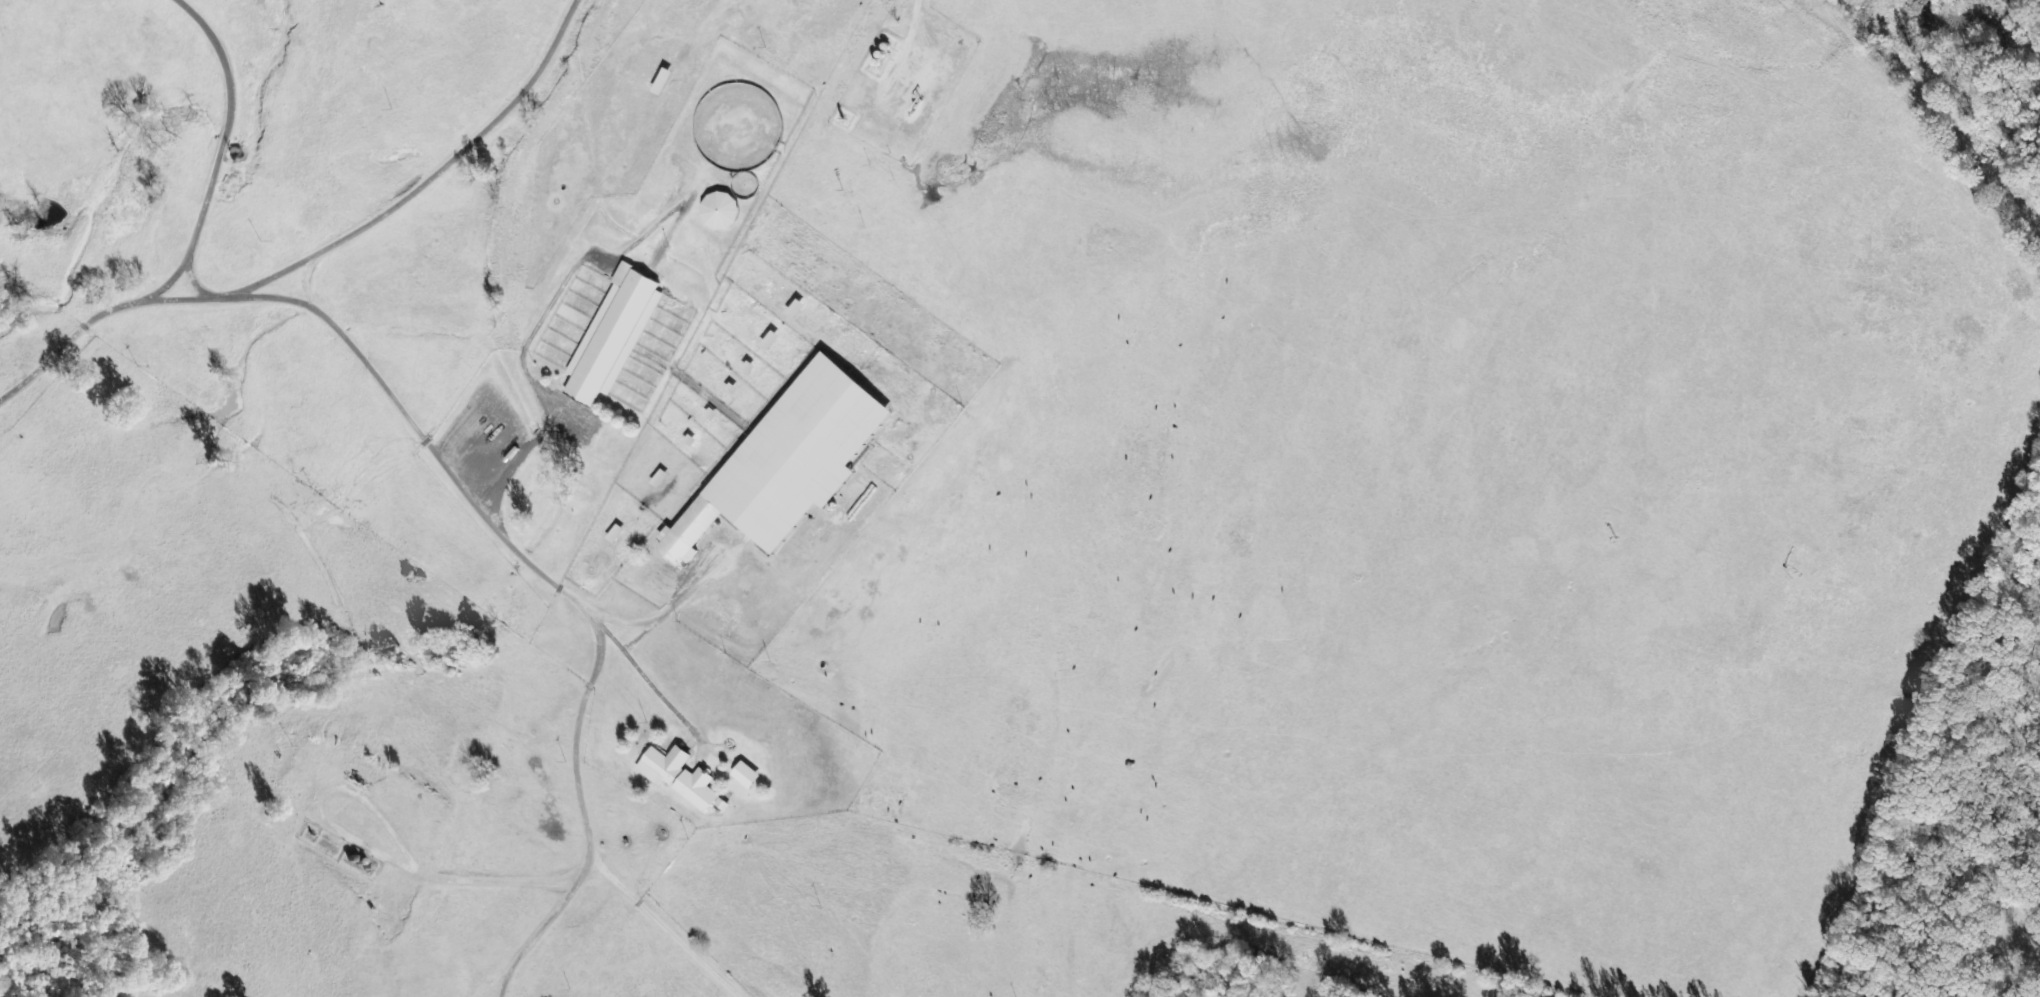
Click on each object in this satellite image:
petroleum well: (915, 102)
building: (717, 211)
road: (278, 272)
road: (86, 328)
building: (612, 335)
building: (784, 462)
building: (743, 775)
building: (678, 778)

